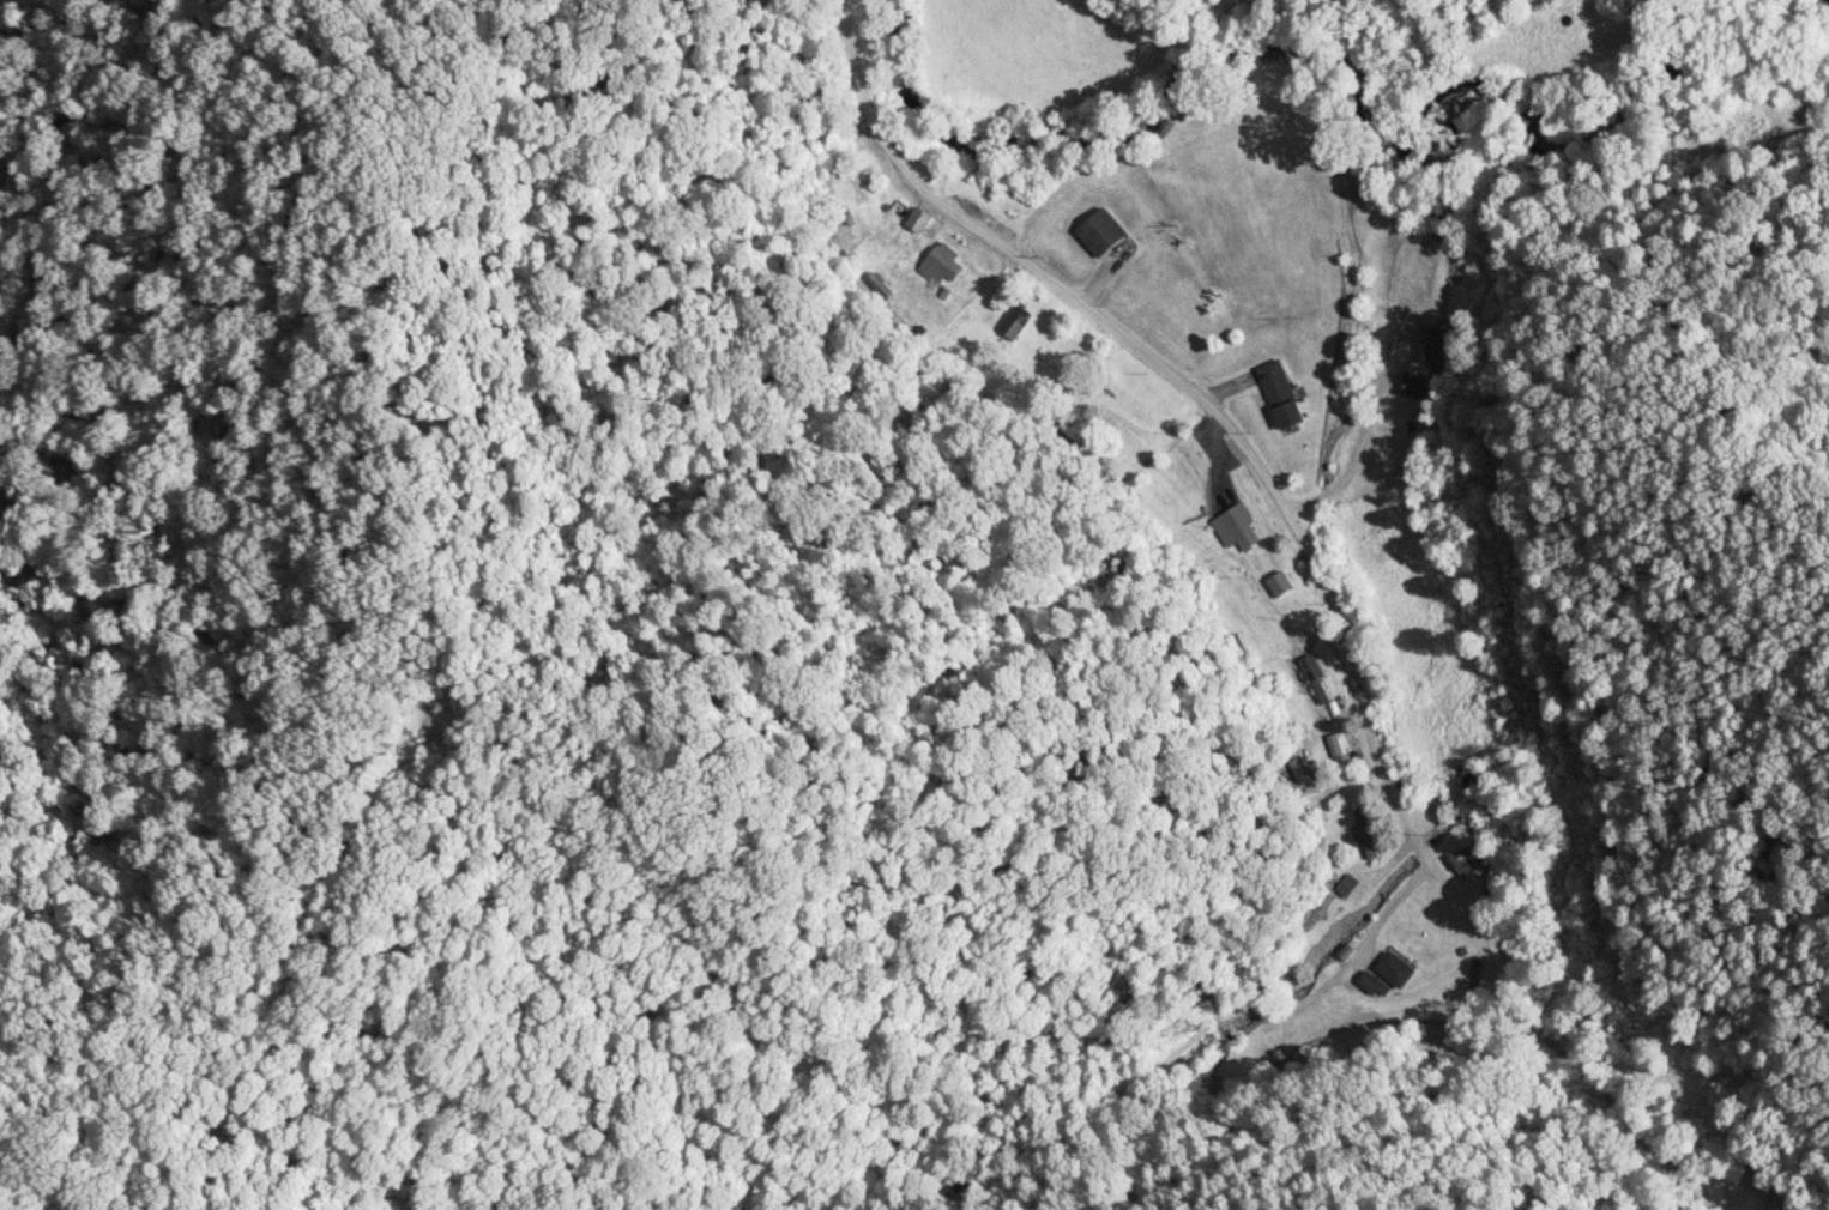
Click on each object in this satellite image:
building: (919, 220)
building: (1104, 234)
building: (1438, 338)
building: (1407, 352)
building: (1412, 386)
building: (1284, 395)
building: (1244, 528)
road: (1311, 571)
building: (1472, 776)
building: (1366, 835)

